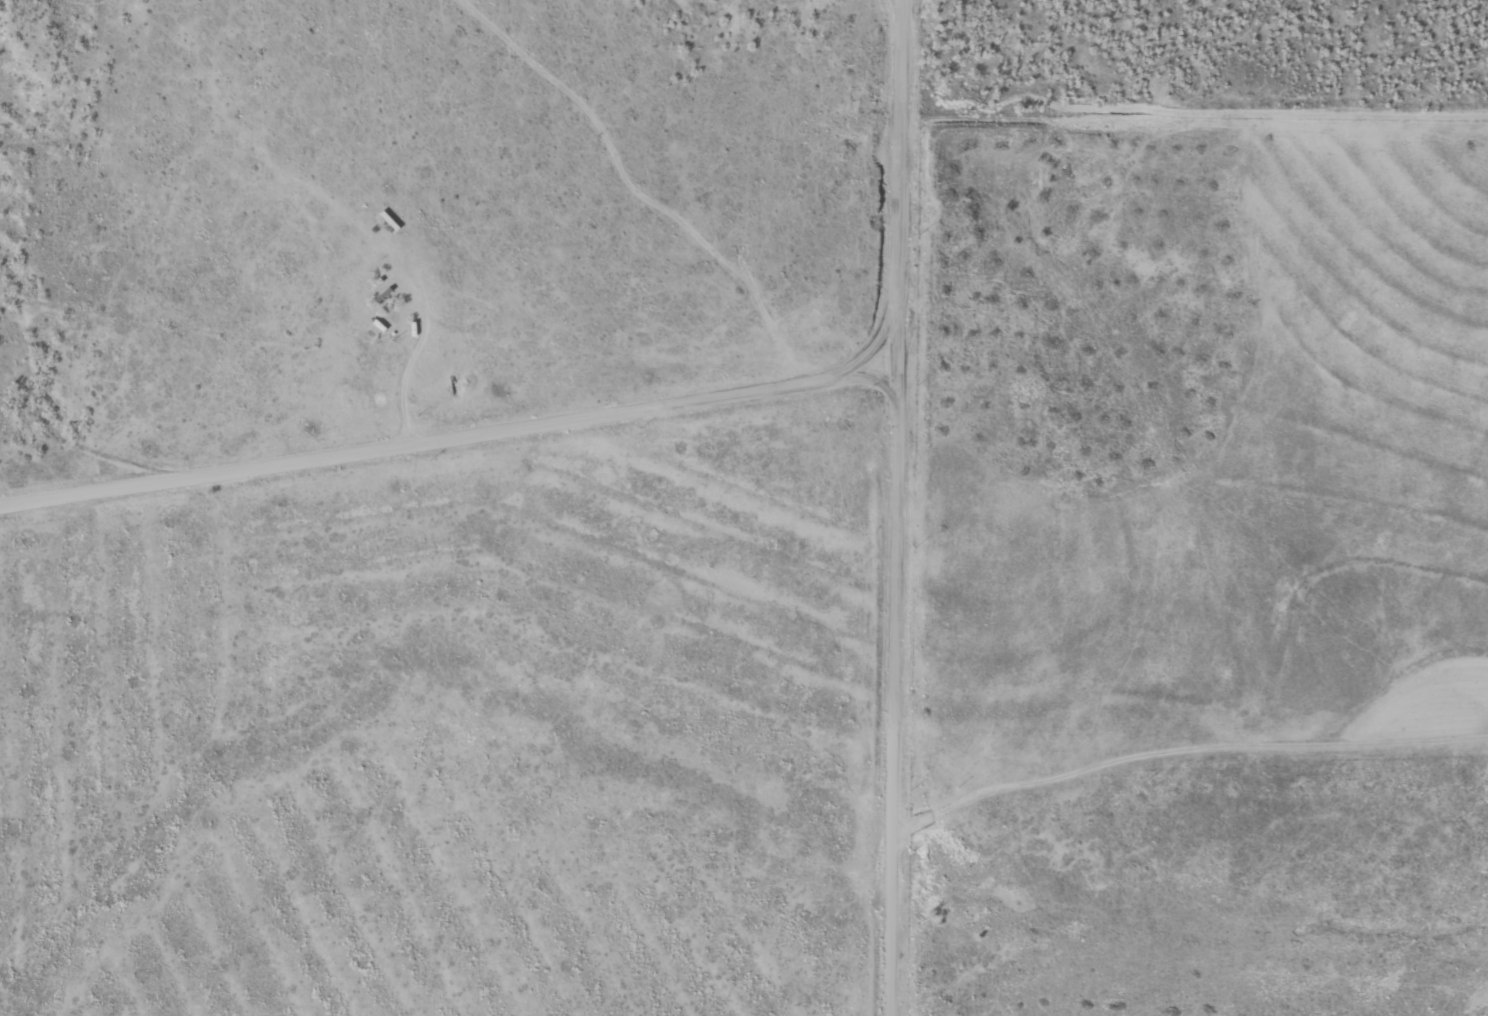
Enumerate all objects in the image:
road: (469, 406)
road: (940, 508)
road: (1215, 771)

